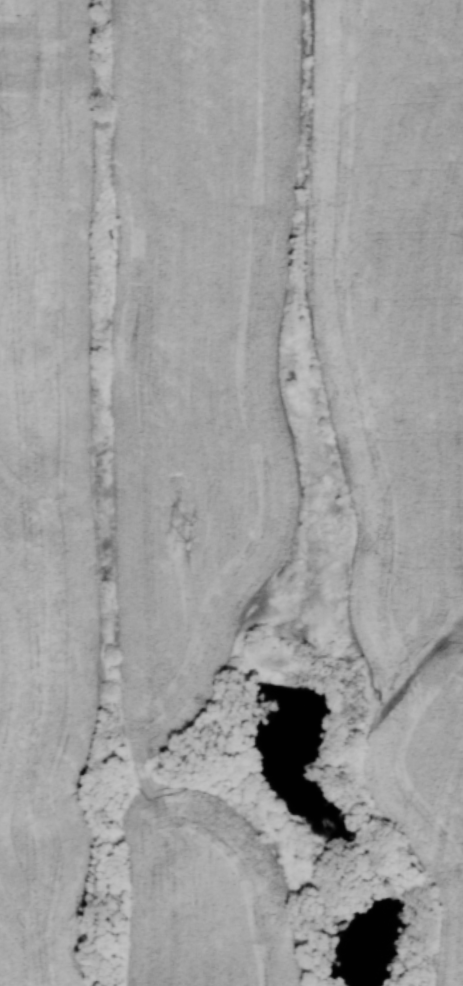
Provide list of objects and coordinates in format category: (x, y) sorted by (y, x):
power tower: (190, 534)

